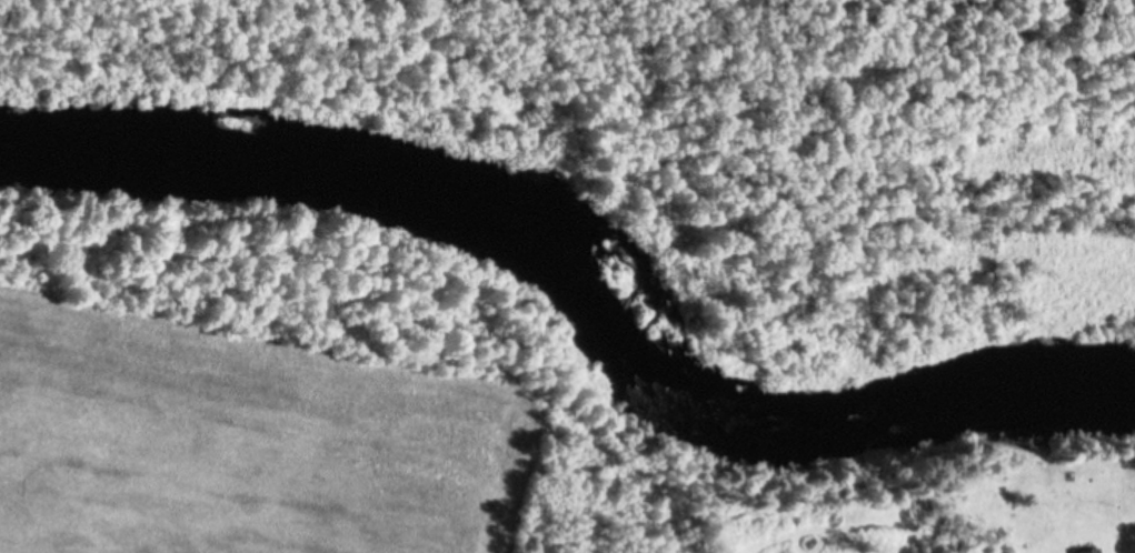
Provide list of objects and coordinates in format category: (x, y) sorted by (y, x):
river: (578, 274)
building: (1092, 550)

